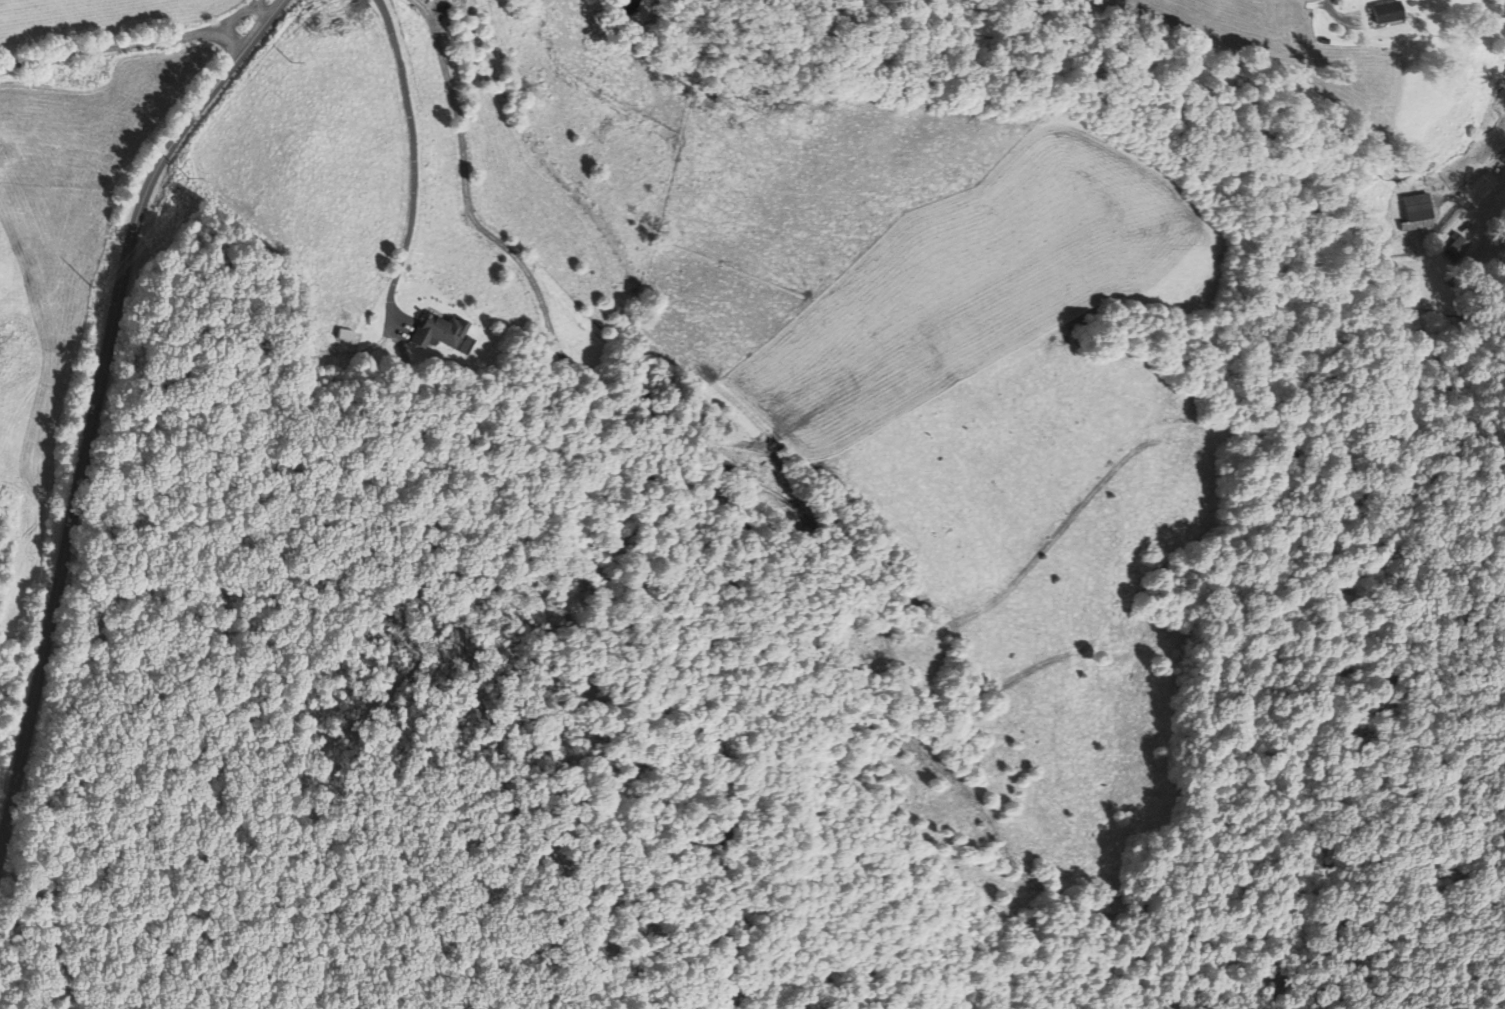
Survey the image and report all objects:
building: (434, 0)
road: (263, 8)
building: (1392, 11)
road: (123, 44)
power tower: (293, 60)
road: (413, 164)
power tower: (190, 177)
building: (1422, 211)
building: (1460, 248)
power tower: (94, 285)
building: (442, 329)
road: (94, 408)

